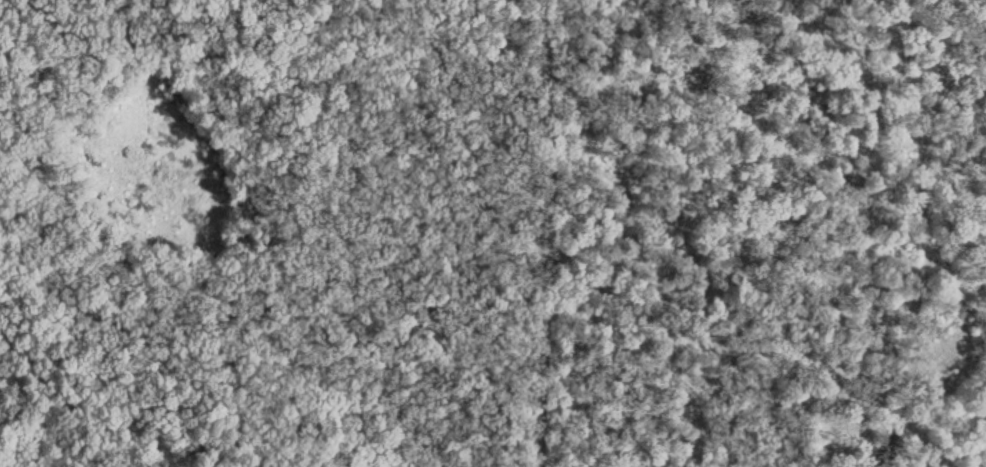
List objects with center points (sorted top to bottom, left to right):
road: (538, 233)
building: (949, 361)

